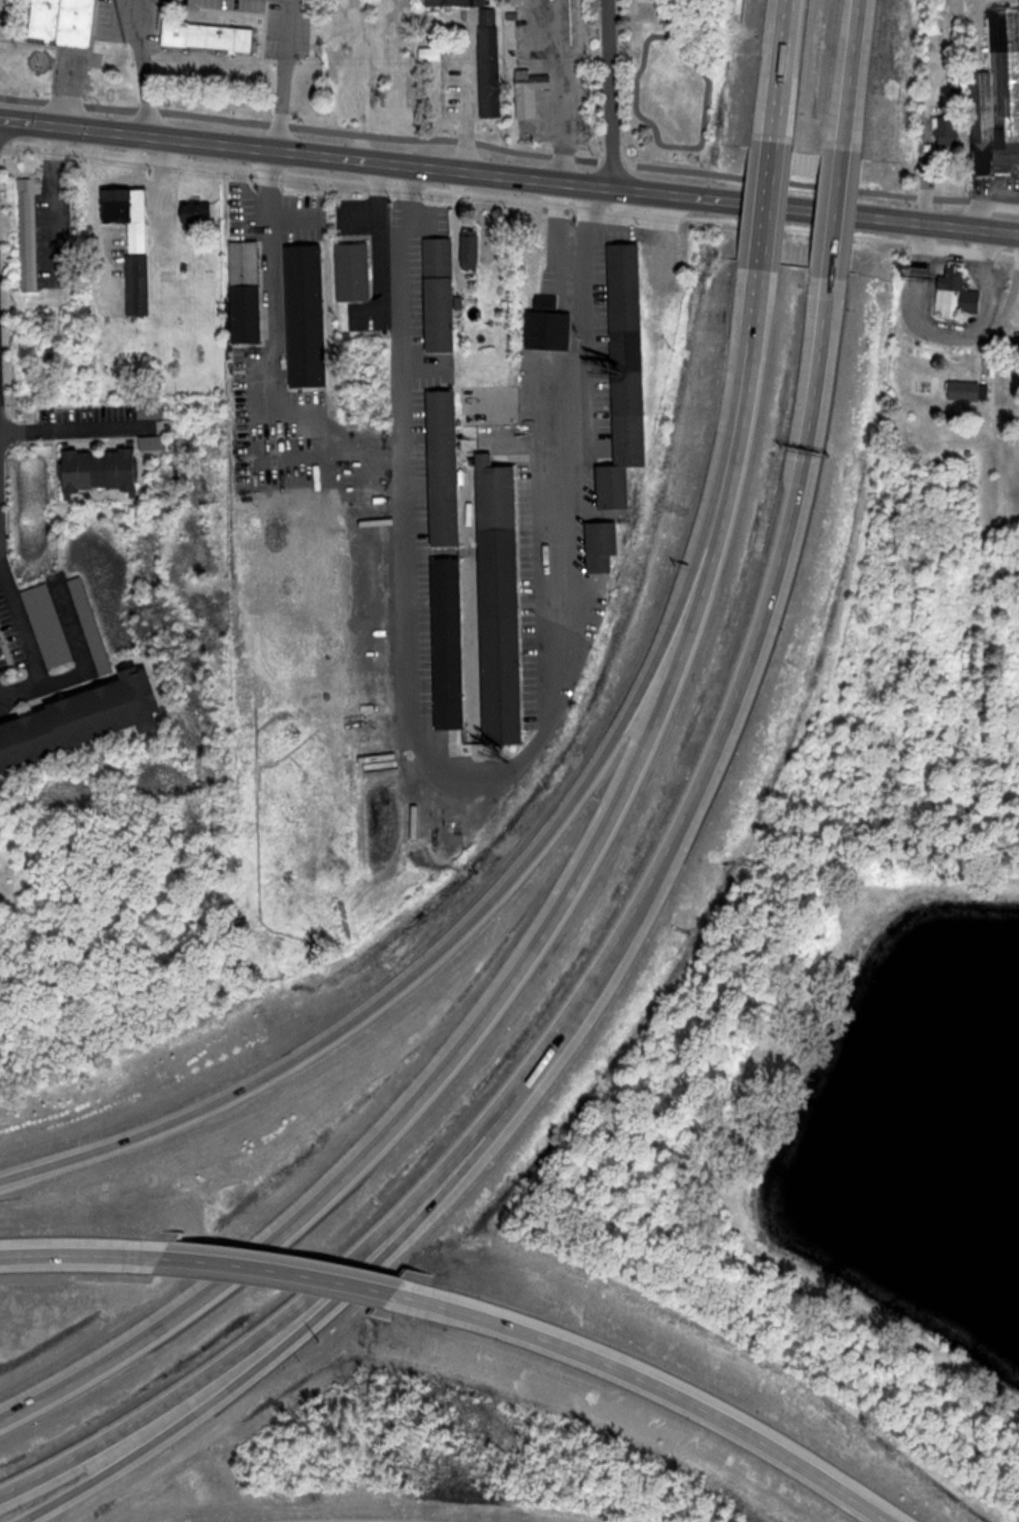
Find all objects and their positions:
building: (516, 1)
building: (67, 21)
building: (579, 23)
building: (210, 36)
building: (485, 53)
building: (432, 54)
park: (171, 59)
road: (780, 66)
road: (853, 67)
road: (145, 72)
road: (284, 74)
road: (69, 88)
building: (529, 91)
road: (611, 92)
building: (998, 98)
building: (948, 131)
road: (509, 173)
road: (766, 193)
road: (839, 199)
road: (53, 204)
building: (198, 211)
building: (30, 232)
building: (133, 242)
building: (472, 248)
building: (440, 255)
building: (532, 258)
building: (246, 263)
road: (273, 266)
building: (354, 271)
building: (311, 278)
building: (957, 292)
building: (547, 299)
building: (442, 314)
building: (550, 327)
road: (747, 341)
building: (311, 345)
building: (627, 371)
building: (969, 390)
road: (64, 434)
building: (108, 465)
building: (446, 466)
building: (603, 544)
building: (501, 598)
road: (22, 624)
building: (48, 624)
building: (450, 642)
road: (84, 669)
road: (733, 700)
building: (83, 720)
road: (473, 771)
road: (480, 919)
road: (492, 1015)
road: (732, 1113)
park: (823, 1147)
road: (79, 1254)
road: (273, 1266)
road: (279, 1321)
road: (295, 1336)
road: (642, 1384)

